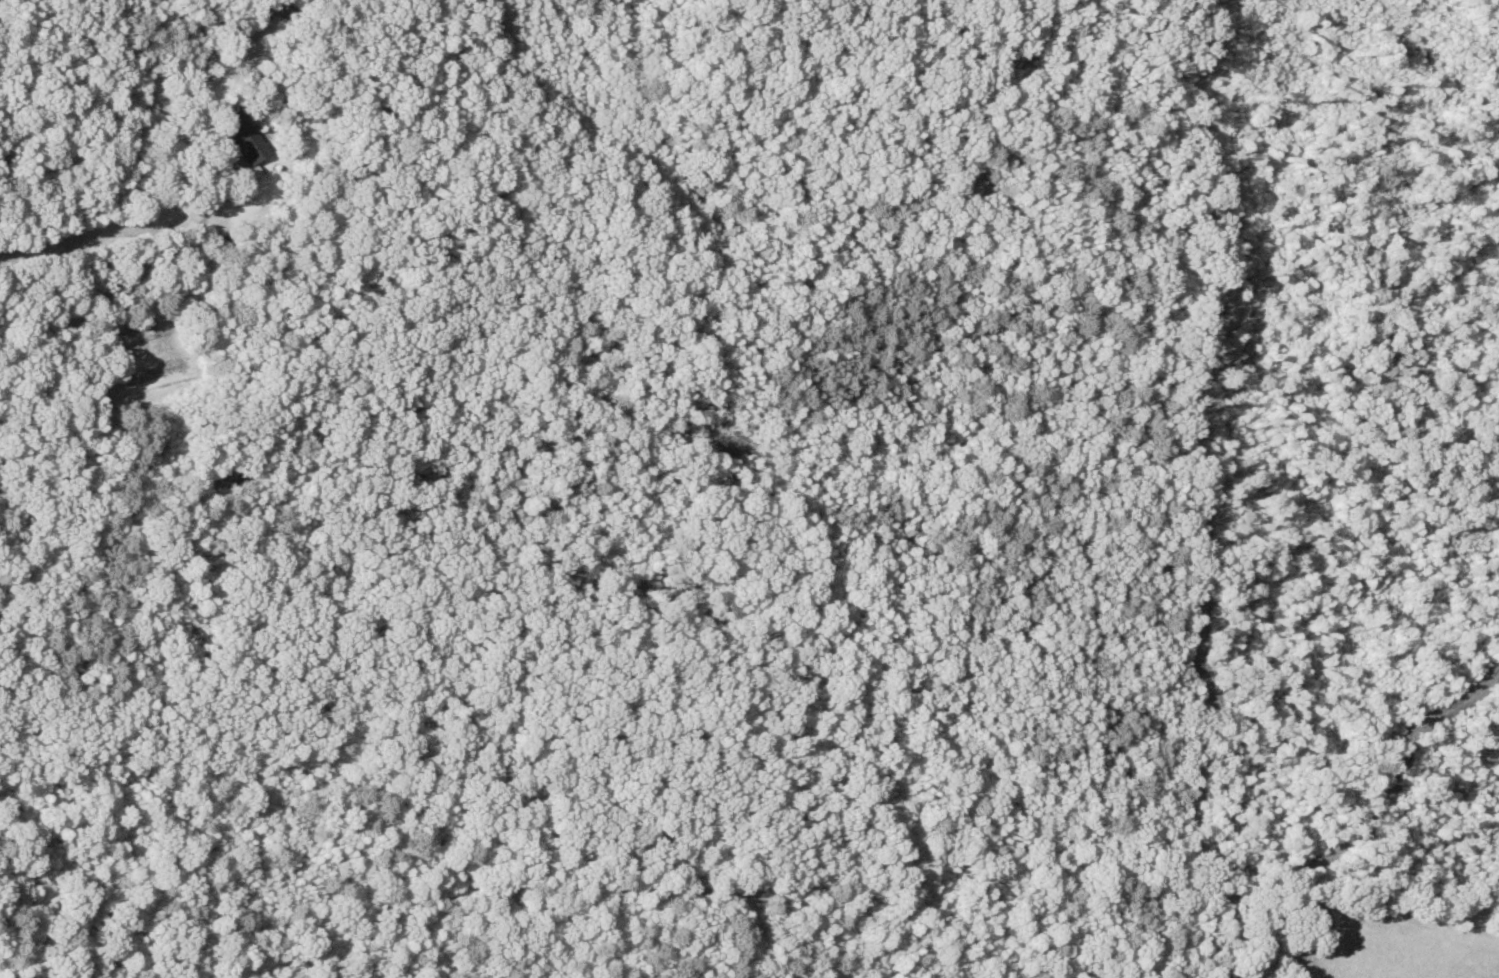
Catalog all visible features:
building: (267, 5)
building: (228, 134)
road: (111, 280)

